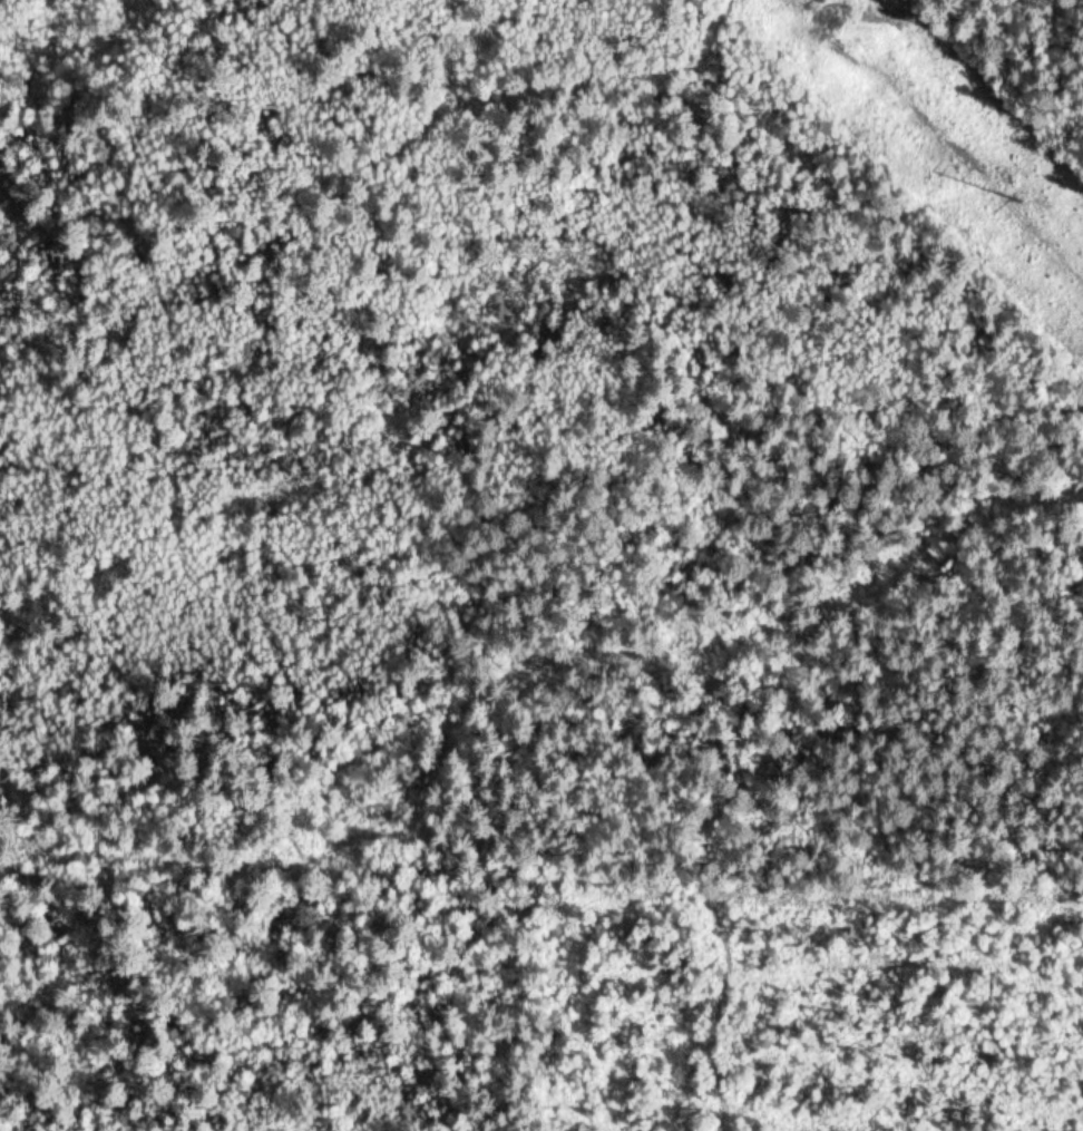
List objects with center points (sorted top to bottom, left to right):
power tower: (1017, 198)

